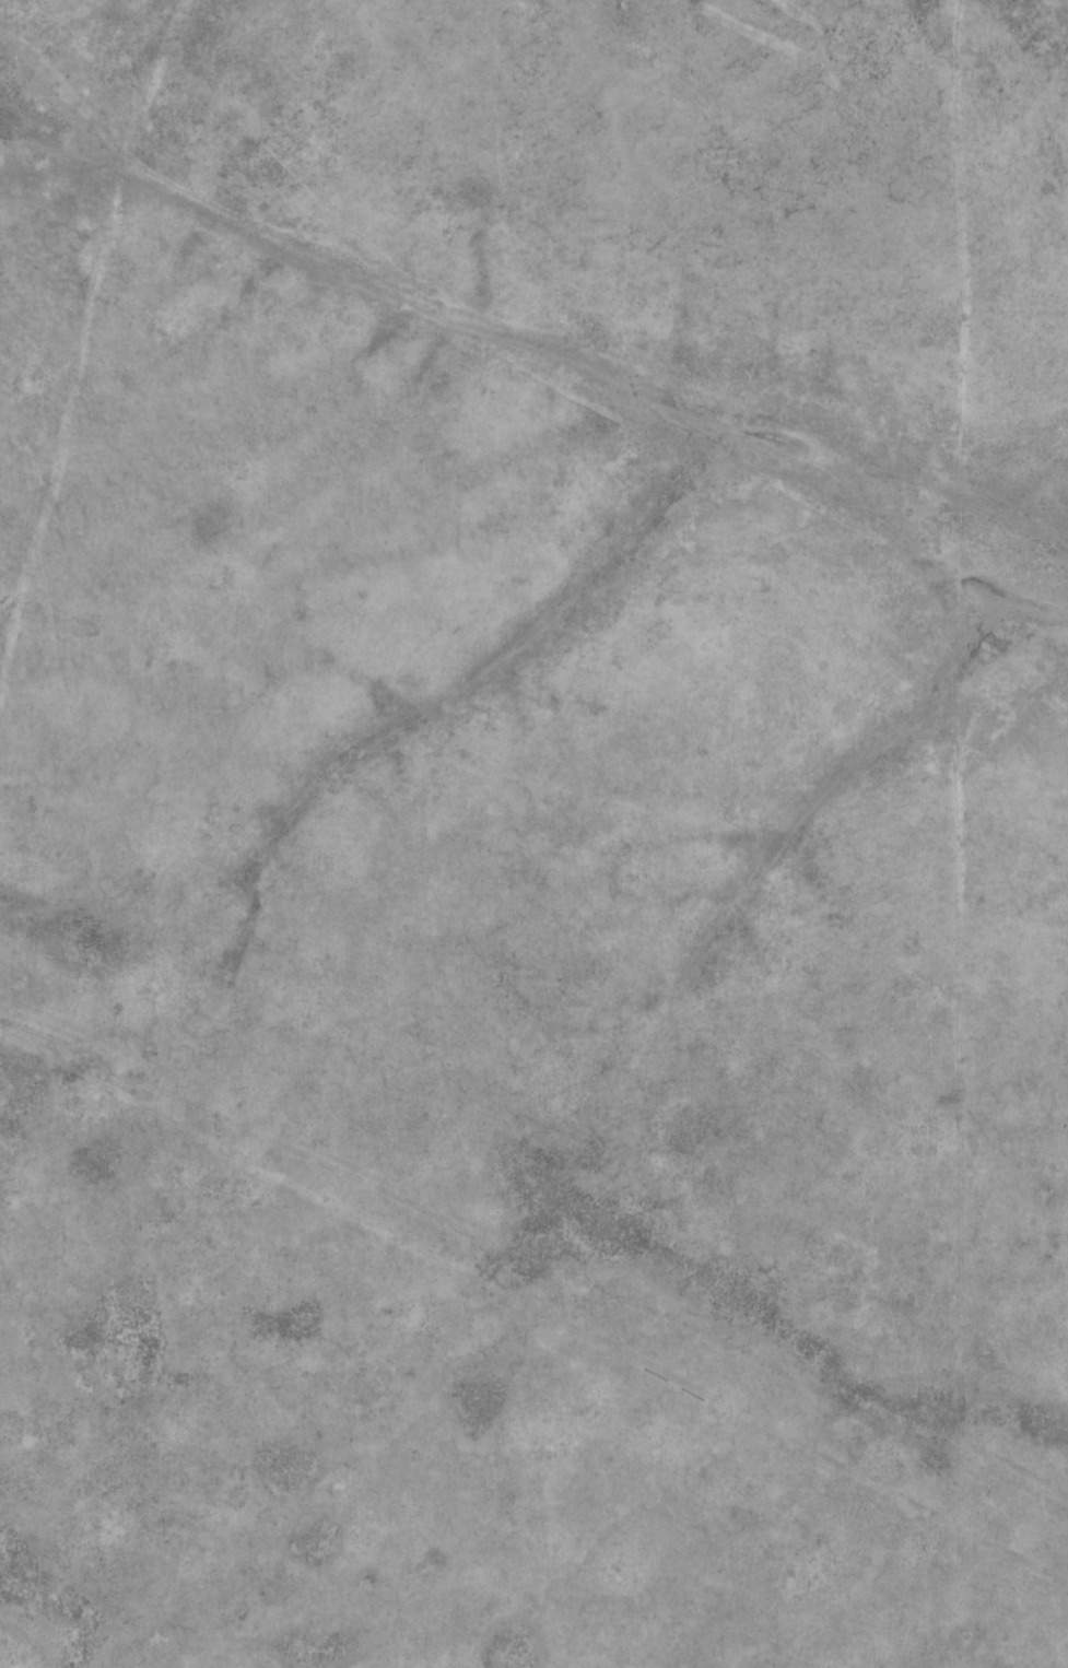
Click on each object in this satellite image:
road: (998, 108)

